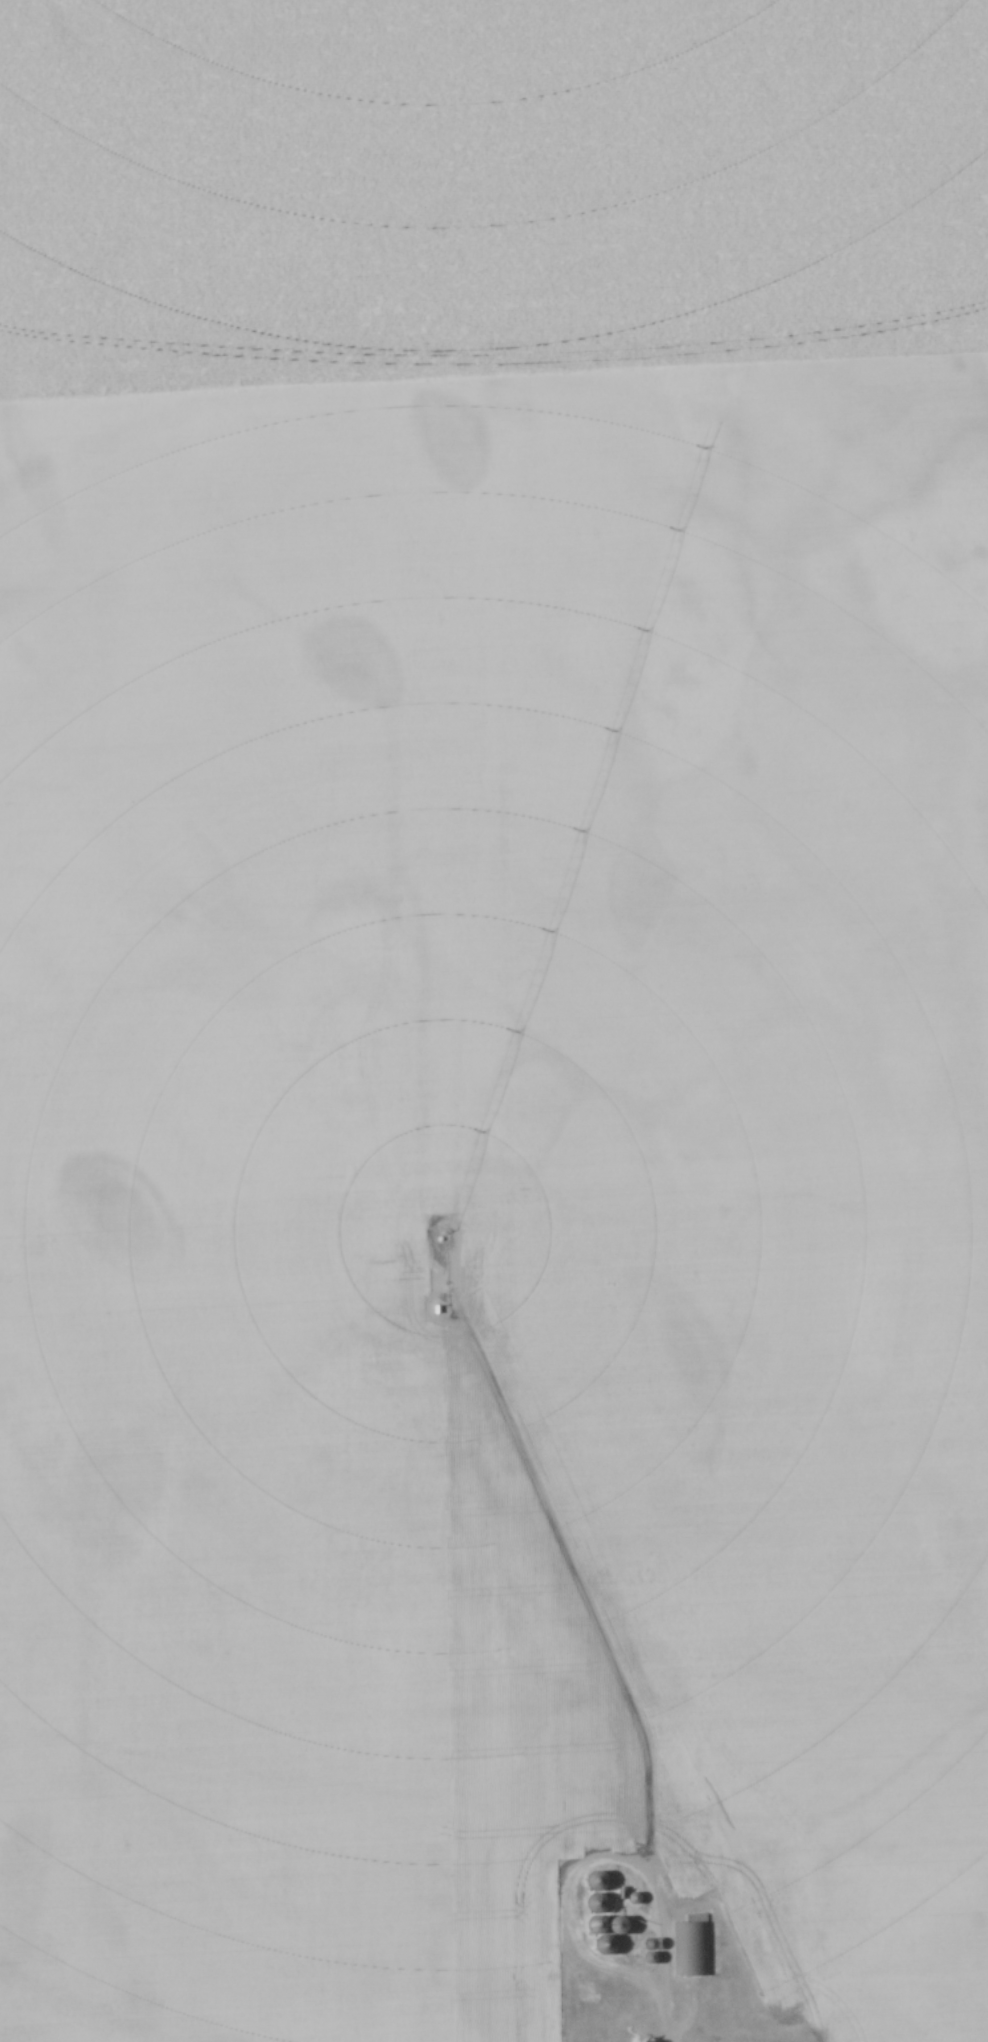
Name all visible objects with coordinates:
building: (599, 1892)
building: (692, 1943)

